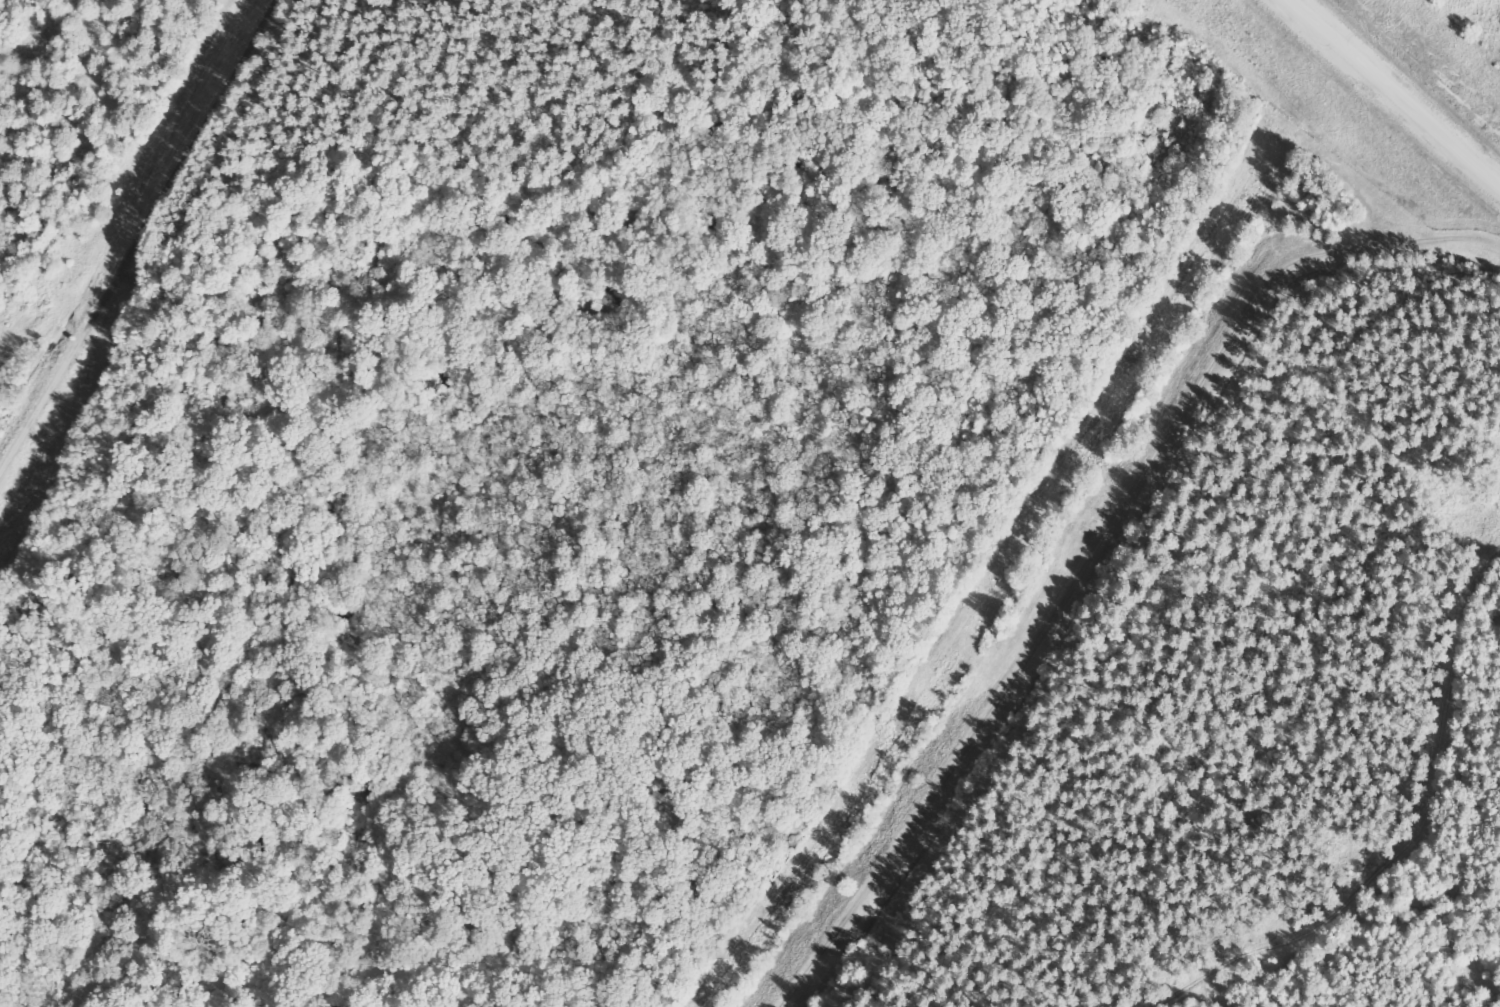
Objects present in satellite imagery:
road: (1397, 91)

